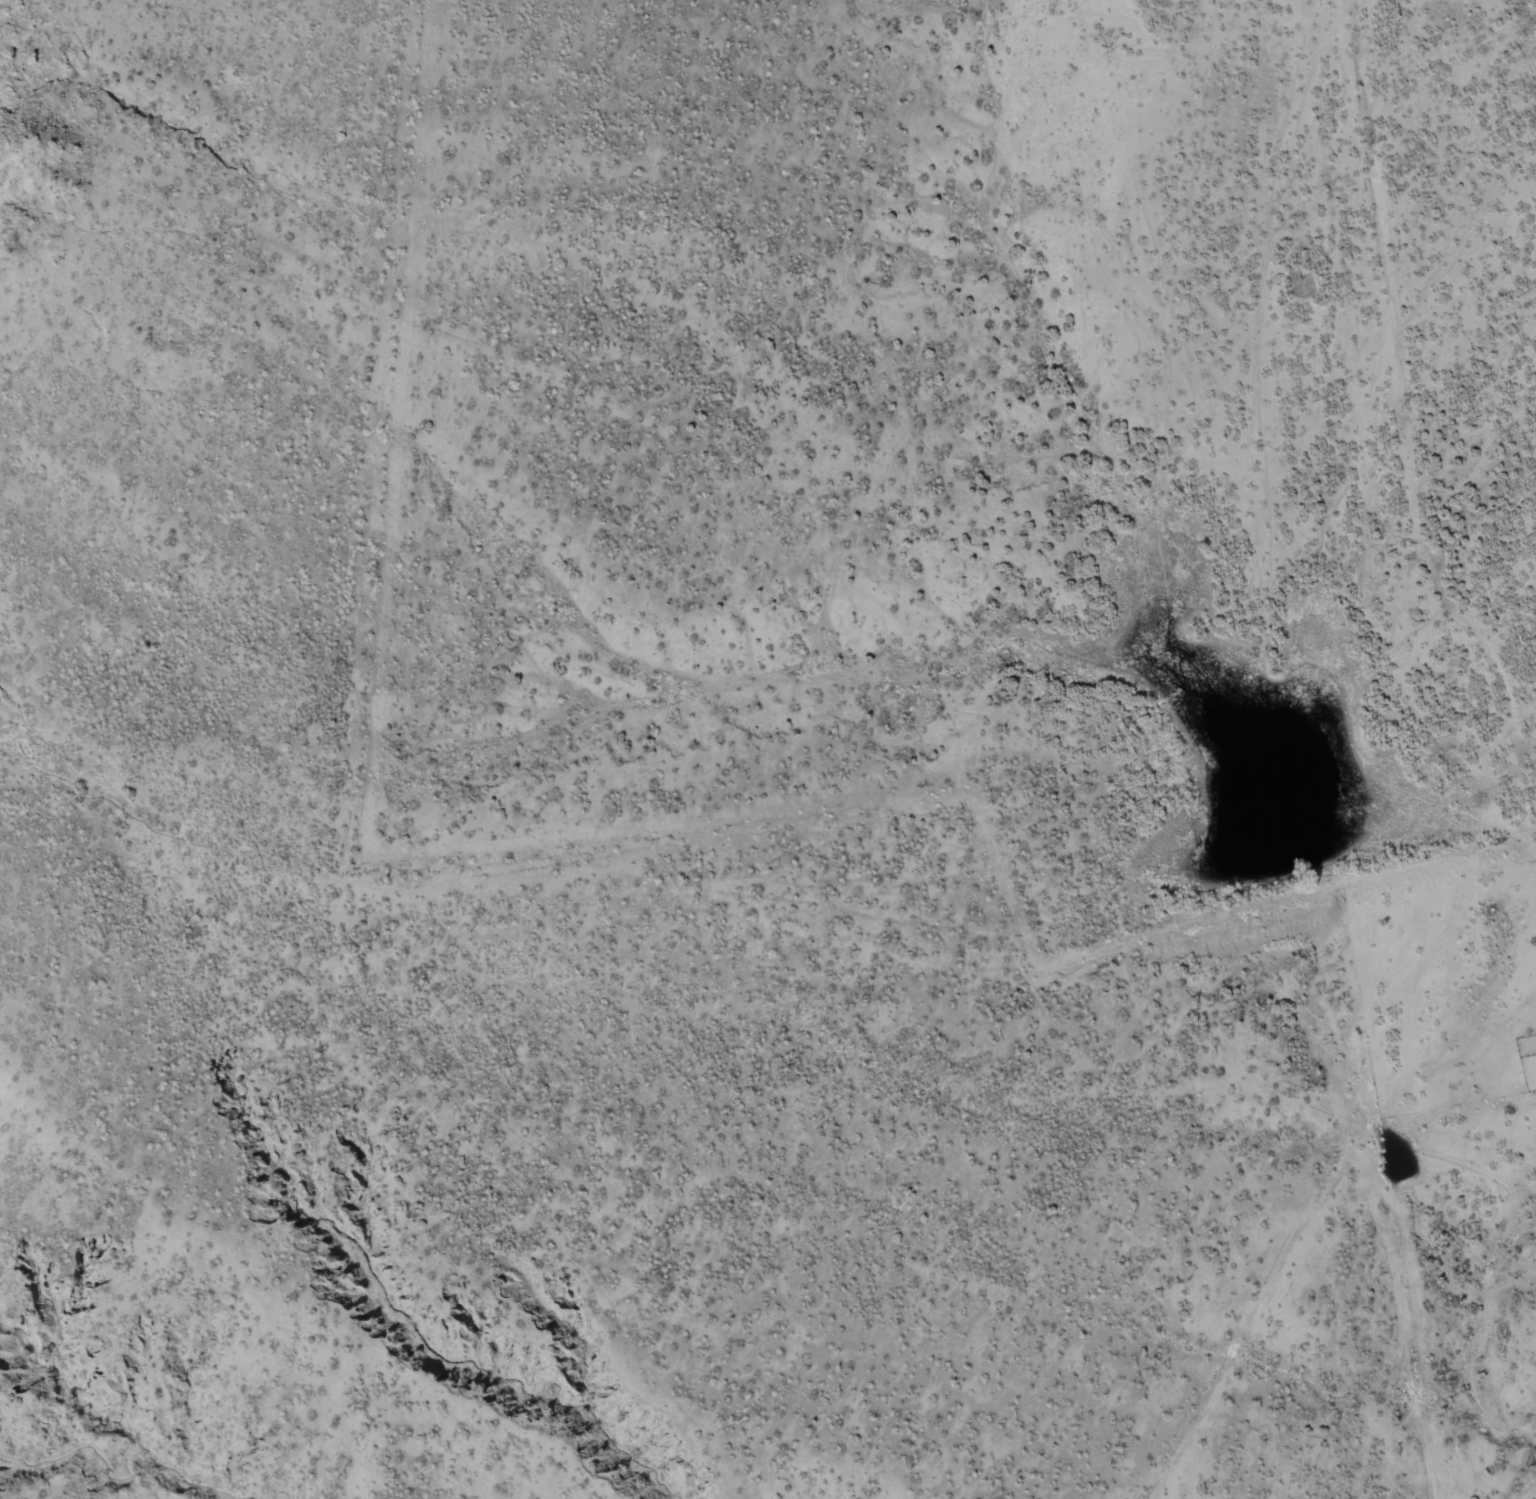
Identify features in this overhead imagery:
road: (1431, 154)
road: (1362, 512)

